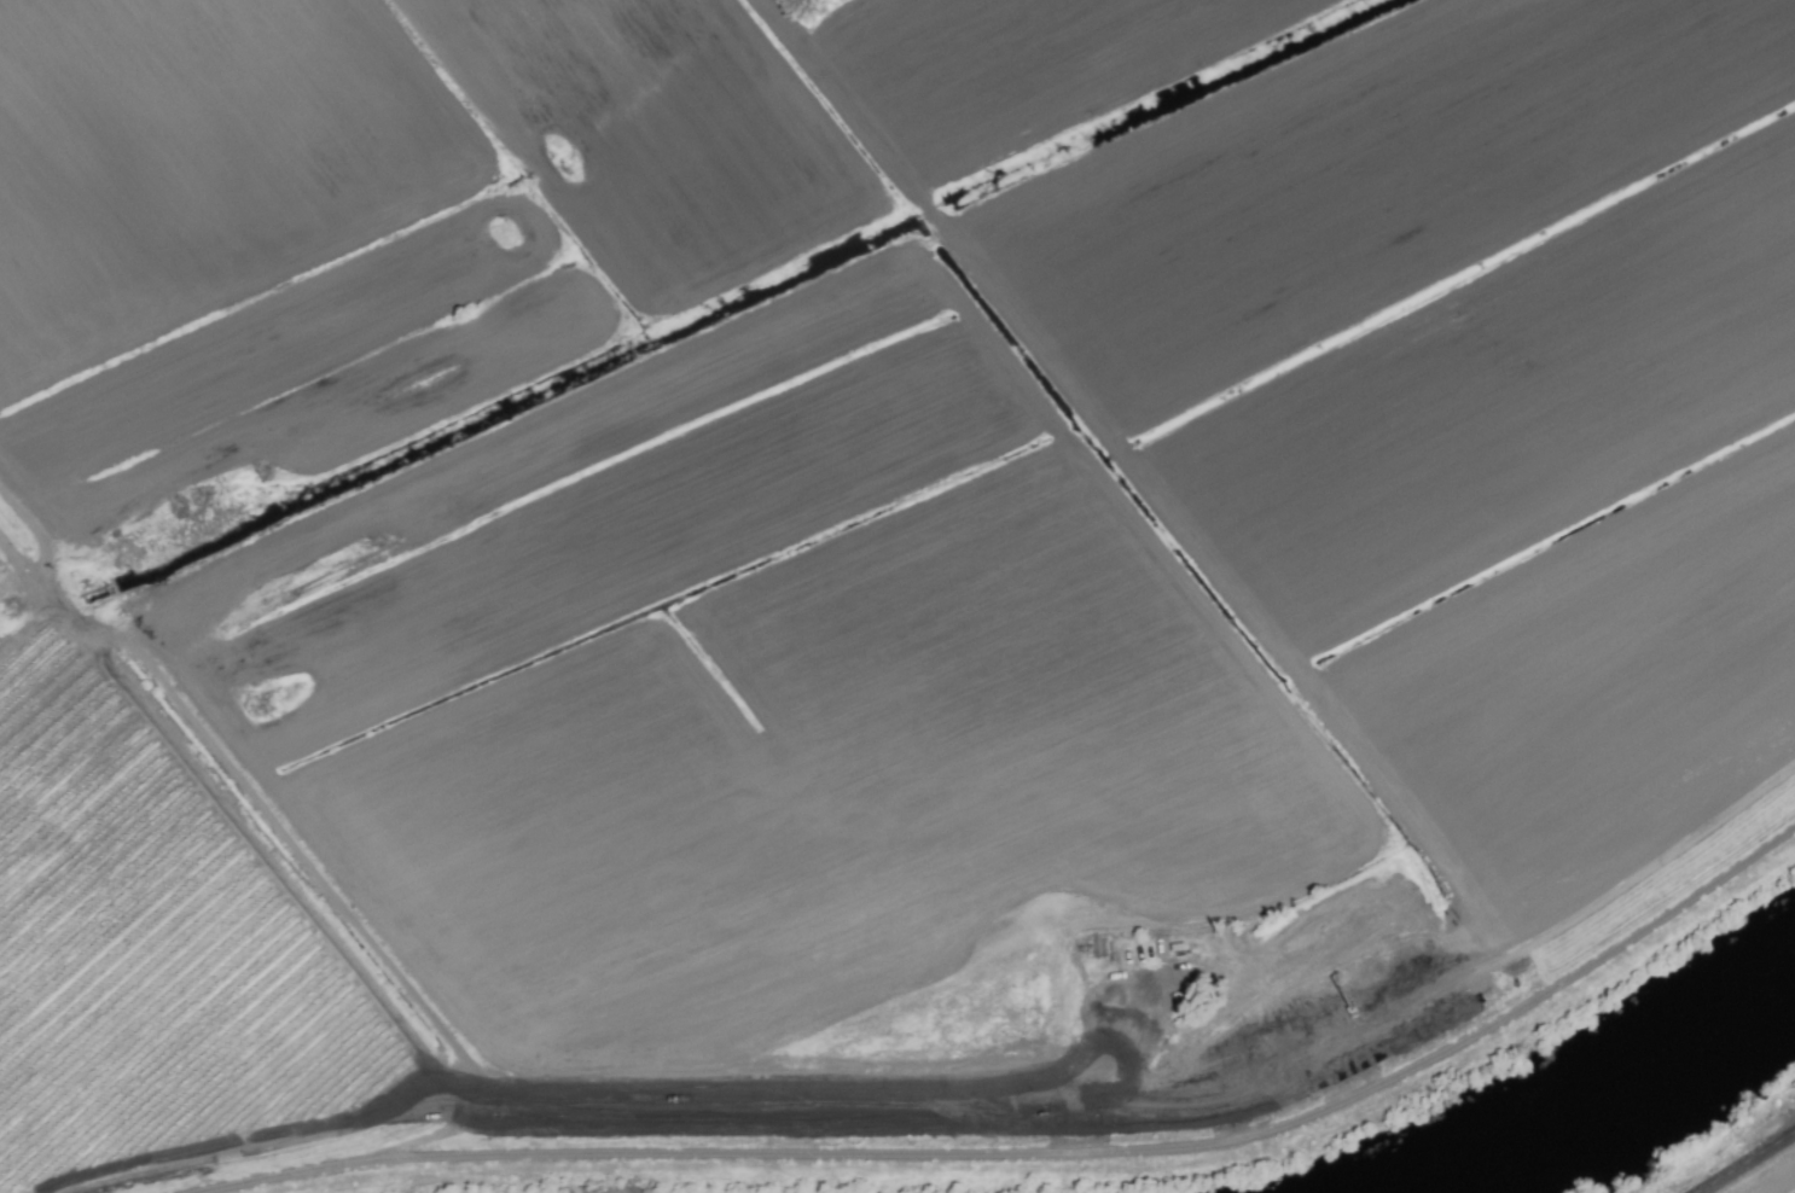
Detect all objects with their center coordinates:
crop: (859, 565)
road: (286, 845)
road: (836, 1108)
road: (1041, 1154)
road: (1745, 1162)
crop: (1768, 1179)

